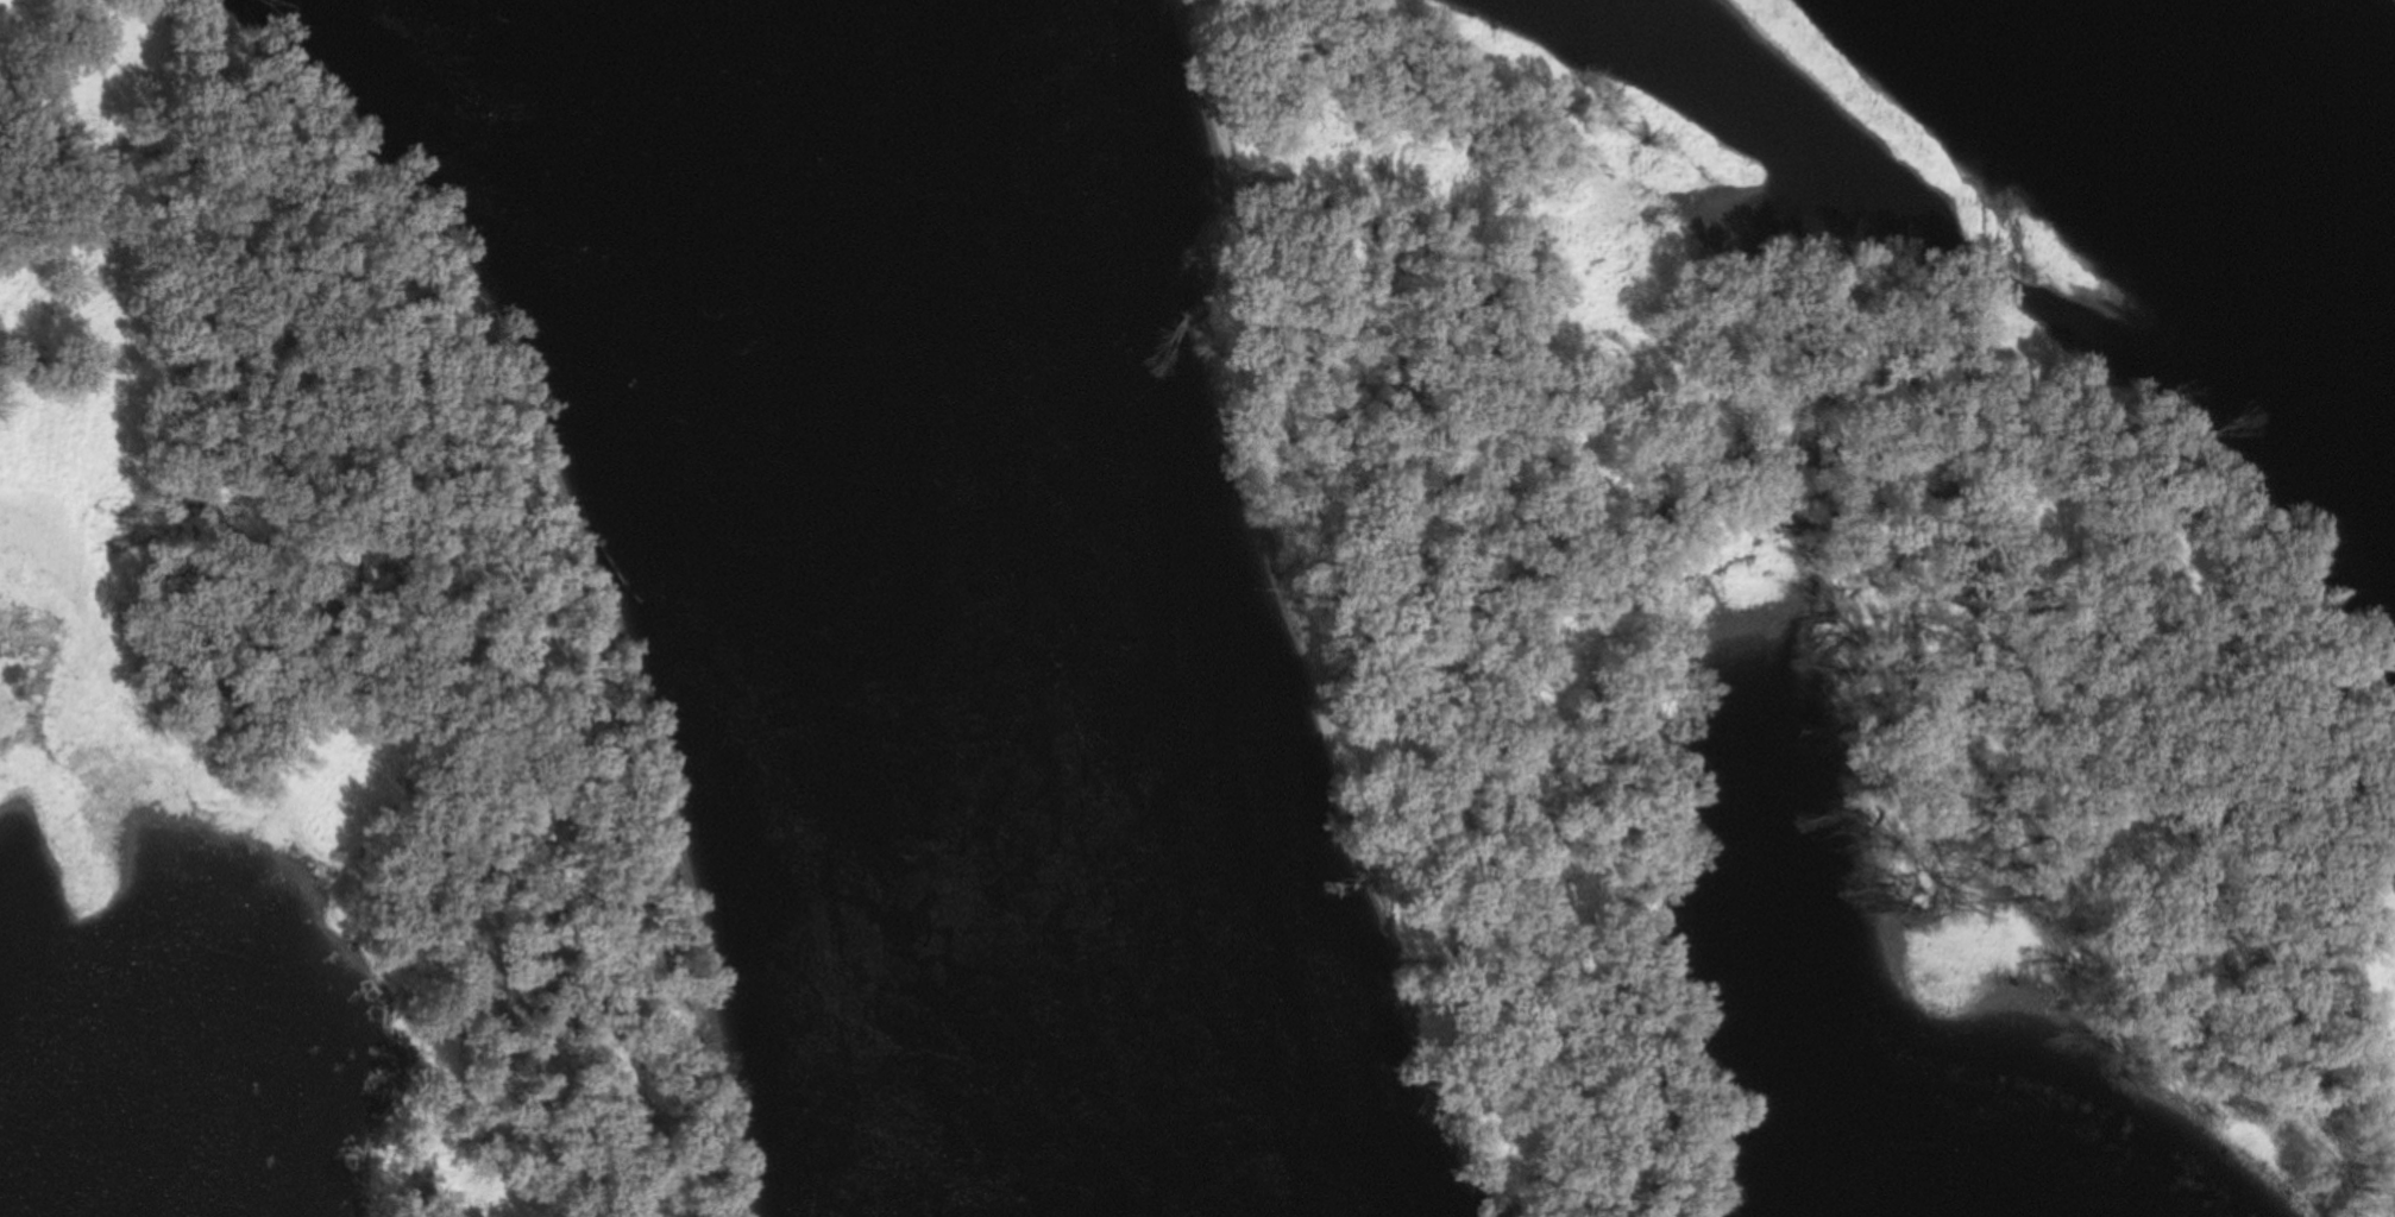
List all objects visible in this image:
river: (2230, 181)

